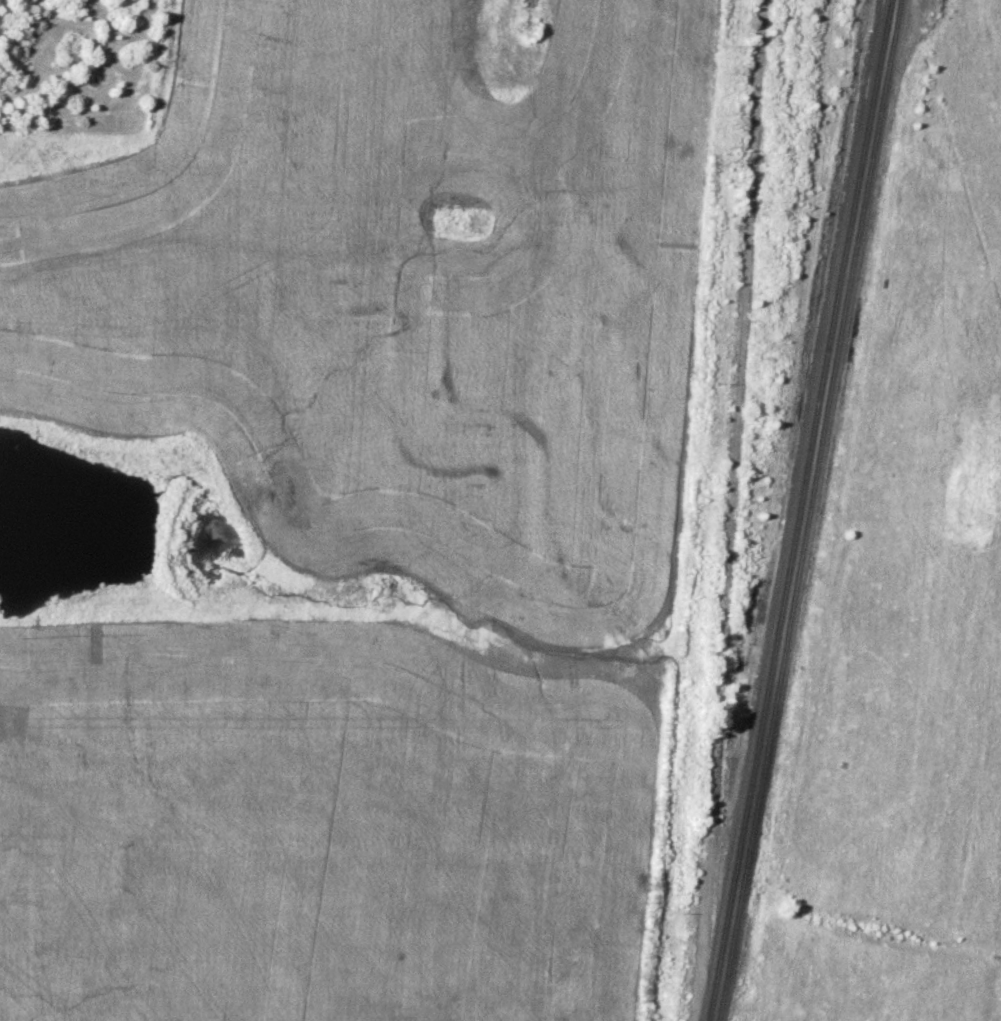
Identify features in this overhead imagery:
railway: (797, 510)
railway: (808, 510)

